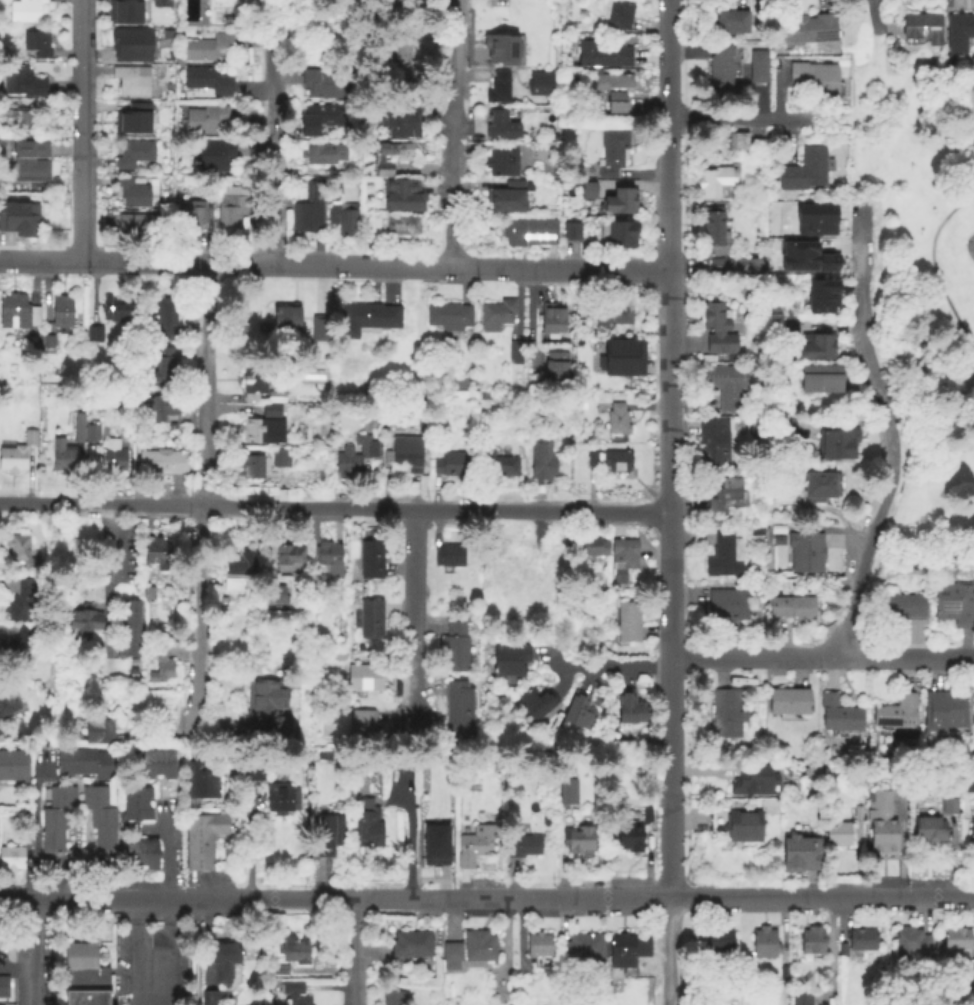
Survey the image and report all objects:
building: (160, 3)
building: (124, 10)
building: (25, 11)
building: (620, 15)
road: (873, 16)
building: (731, 22)
building: (961, 28)
building: (923, 29)
building: (809, 30)
road: (887, 33)
building: (130, 42)
building: (37, 45)
building: (162, 46)
building: (210, 48)
building: (503, 50)
building: (603, 54)
building: (400, 56)
building: (756, 66)
building: (720, 69)
road: (667, 75)
building: (816, 80)
building: (208, 81)
building: (21, 82)
building: (131, 82)
building: (538, 83)
building: (322, 85)
building: (498, 89)
building: (614, 90)
building: (556, 100)
road: (857, 113)
road: (832, 115)
building: (321, 116)
road: (737, 117)
building: (135, 118)
building: (17, 120)
building: (400, 120)
building: (203, 121)
building: (501, 126)
road: (82, 130)
building: (352, 130)
road: (279, 132)
road: (451, 134)
building: (738, 143)
building: (612, 153)
building: (133, 154)
building: (324, 155)
building: (212, 157)
building: (379, 159)
building: (29, 161)
building: (502, 163)
road: (932, 166)
building: (558, 170)
building: (806, 171)
building: (335, 182)
building: (717, 185)
building: (589, 192)
building: (134, 193)
building: (402, 196)
building: (507, 199)
building: (620, 203)
building: (230, 211)
road: (667, 211)
building: (815, 218)
building: (194, 219)
building: (303, 220)
building: (22, 222)
building: (345, 225)
building: (136, 227)
building: (402, 227)
building: (571, 232)
building: (527, 233)
building: (715, 233)
building: (619, 236)
building: (807, 256)
road: (333, 266)
road: (933, 266)
building: (734, 267)
park: (922, 283)
building: (823, 298)
road: (669, 303)
building: (117, 310)
building: (17, 313)
building: (61, 314)
building: (609, 316)
building: (498, 317)
building: (449, 319)
building: (367, 320)
road: (530, 320)
building: (288, 321)
building: (553, 321)
building: (163, 322)
building: (582, 322)
building: (320, 330)
building: (96, 331)
building: (789, 331)
building: (717, 332)
building: (48, 343)
building: (819, 350)
building: (515, 354)
building: (609, 356)
building: (164, 365)
building: (557, 370)
road: (671, 372)
building: (822, 382)
building: (253, 383)
building: (728, 388)
building: (276, 399)
building: (161, 410)
building: (271, 412)
building: (613, 419)
building: (77, 428)
building: (786, 430)
building: (253, 432)
road: (890, 432)
building: (91, 434)
building: (29, 438)
building: (838, 444)
building: (713, 446)
building: (65, 457)
building: (404, 457)
building: (352, 458)
building: (12, 459)
building: (114, 459)
building: (279, 460)
building: (591, 461)
road: (673, 461)
building: (161, 463)
building: (542, 463)
building: (616, 463)
building: (499, 465)
building: (453, 467)
building: (251, 469)
building: (372, 469)
building: (288, 481)
building: (819, 489)
building: (724, 498)
road: (203, 503)
road: (336, 507)
building: (756, 532)
building: (778, 542)
road: (674, 545)
building: (592, 548)
building: (19, 551)
building: (161, 554)
building: (806, 554)
building: (289, 556)
building: (448, 557)
building: (515, 557)
building: (725, 558)
building: (329, 559)
building: (371, 559)
building: (622, 559)
building: (241, 564)
road: (107, 580)
building: (152, 592)
building: (275, 593)
road: (674, 595)
building: (21, 600)
building: (954, 601)
building: (902, 604)
building: (559, 605)
building: (727, 606)
building: (794, 609)
road: (416, 617)
building: (369, 620)
building: (84, 621)
building: (629, 622)
building: (128, 632)
road: (674, 635)
building: (454, 649)
building: (19, 651)
road: (824, 657)
building: (511, 662)
building: (160, 665)
road: (617, 665)
road: (719, 670)
building: (364, 678)
building: (7, 699)
building: (790, 702)
building: (537, 703)
building: (271, 707)
building: (630, 708)
road: (674, 709)
building: (458, 710)
building: (946, 711)
building: (580, 712)
building: (897, 713)
building: (726, 714)
building: (839, 715)
building: (363, 727)
road: (212, 732)
building: (100, 733)
building: (151, 734)
road: (193, 751)
building: (84, 762)
building: (65, 763)
building: (149, 765)
building: (166, 765)
building: (4, 767)
building: (17, 767)
building: (102, 767)
building: (253, 772)
building: (813, 772)
building: (199, 781)
building: (756, 782)
building: (968, 782)
building: (567, 790)
road: (673, 794)
building: (136, 795)
building: (62, 798)
building: (94, 798)
building: (281, 799)
building: (949, 808)
building: (136, 812)
building: (857, 814)
building: (25, 815)
building: (646, 815)
building: (55, 819)
building: (102, 819)
building: (561, 819)
building: (547, 822)
building: (368, 825)
building: (882, 825)
building: (208, 826)
building: (743, 827)
road: (146, 832)
building: (971, 832)
building: (929, 833)
building: (328, 835)
building: (838, 835)
building: (630, 839)
building: (579, 840)
building: (25, 841)
building: (104, 841)
building: (52, 842)
building: (199, 844)
building: (523, 846)
building: (472, 847)
road: (249, 848)
building: (431, 849)
road: (165, 851)
road: (35, 853)
building: (133, 854)
building: (149, 854)
building: (801, 854)
building: (11, 860)
building: (199, 862)
road: (673, 863)
road: (16, 899)
road: (502, 899)
building: (862, 940)
building: (959, 940)
building: (721, 941)
building: (813, 941)
building: (907, 943)
building: (765, 944)
building: (410, 947)
building: (538, 948)
building: (582, 949)
building: (294, 950)
building: (841, 951)
road: (32, 952)
road: (131, 952)
road: (167, 952)
road: (353, 952)
building: (468, 952)
road: (670, 952)
road: (679, 952)
building: (627, 960)
building: (223, 962)
road: (16, 968)
building: (969, 970)
building: (280, 971)
building: (85, 976)
building: (3, 988)
building: (294, 994)
building: (801, 996)
building: (210, 998)
building: (393, 998)

